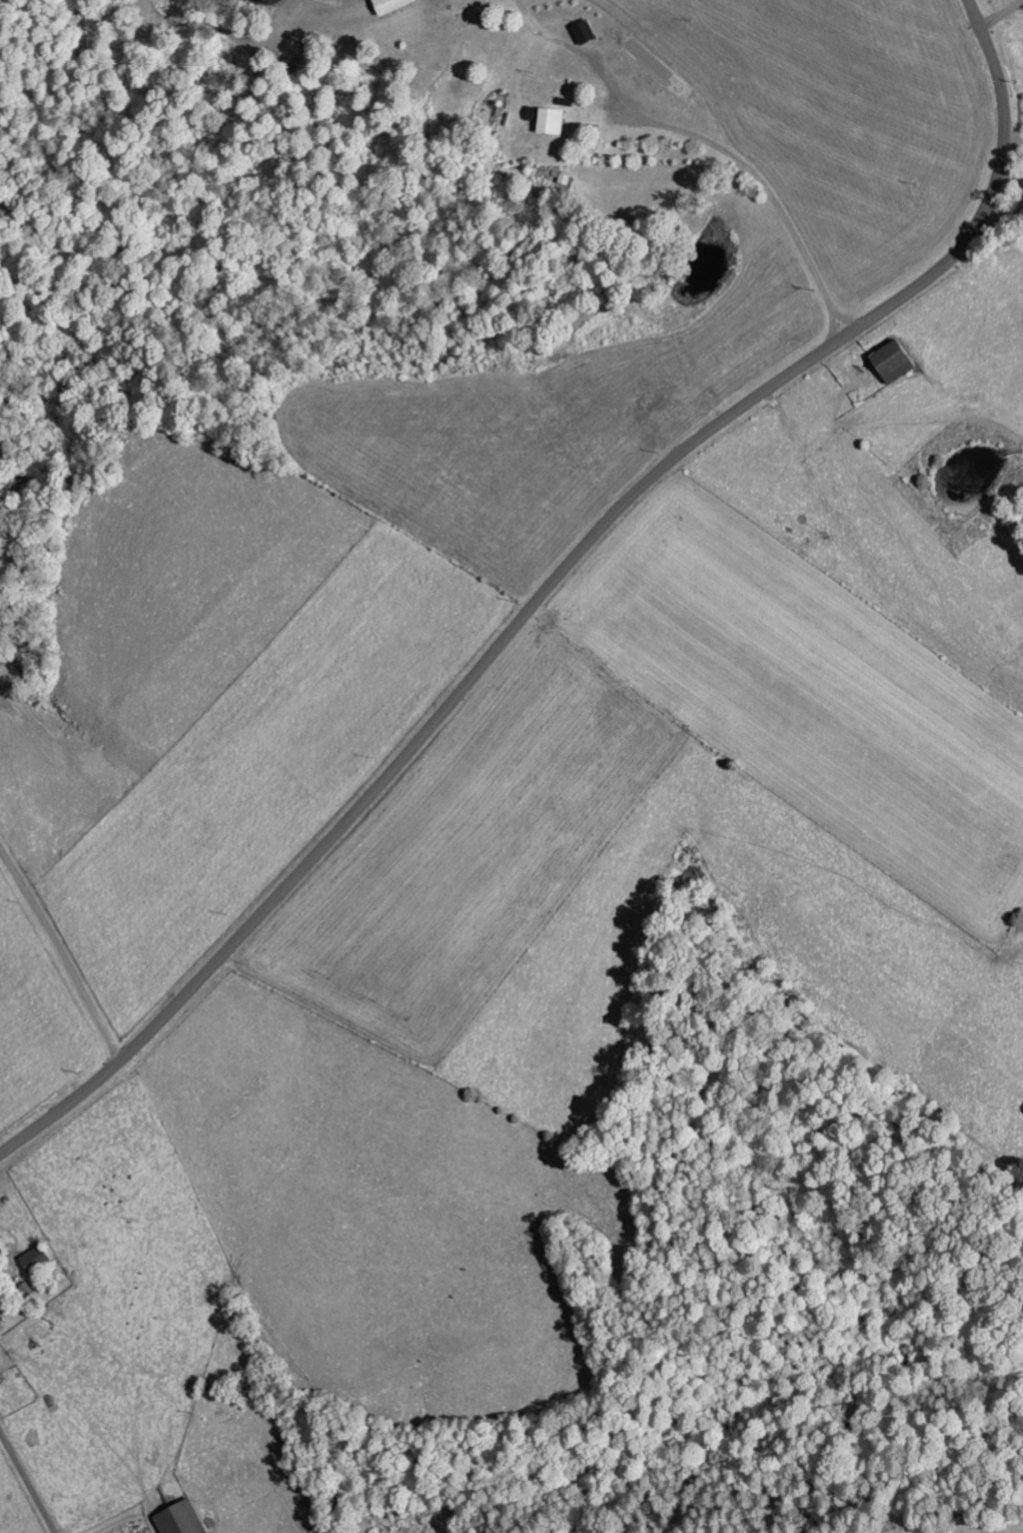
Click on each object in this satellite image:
building: (385, 5)
building: (581, 30)
building: (545, 119)
road: (1006, 183)
building: (889, 361)
road: (551, 583)
road: (63, 960)
building: (33, 1259)
road: (27, 1483)
building: (178, 1518)

